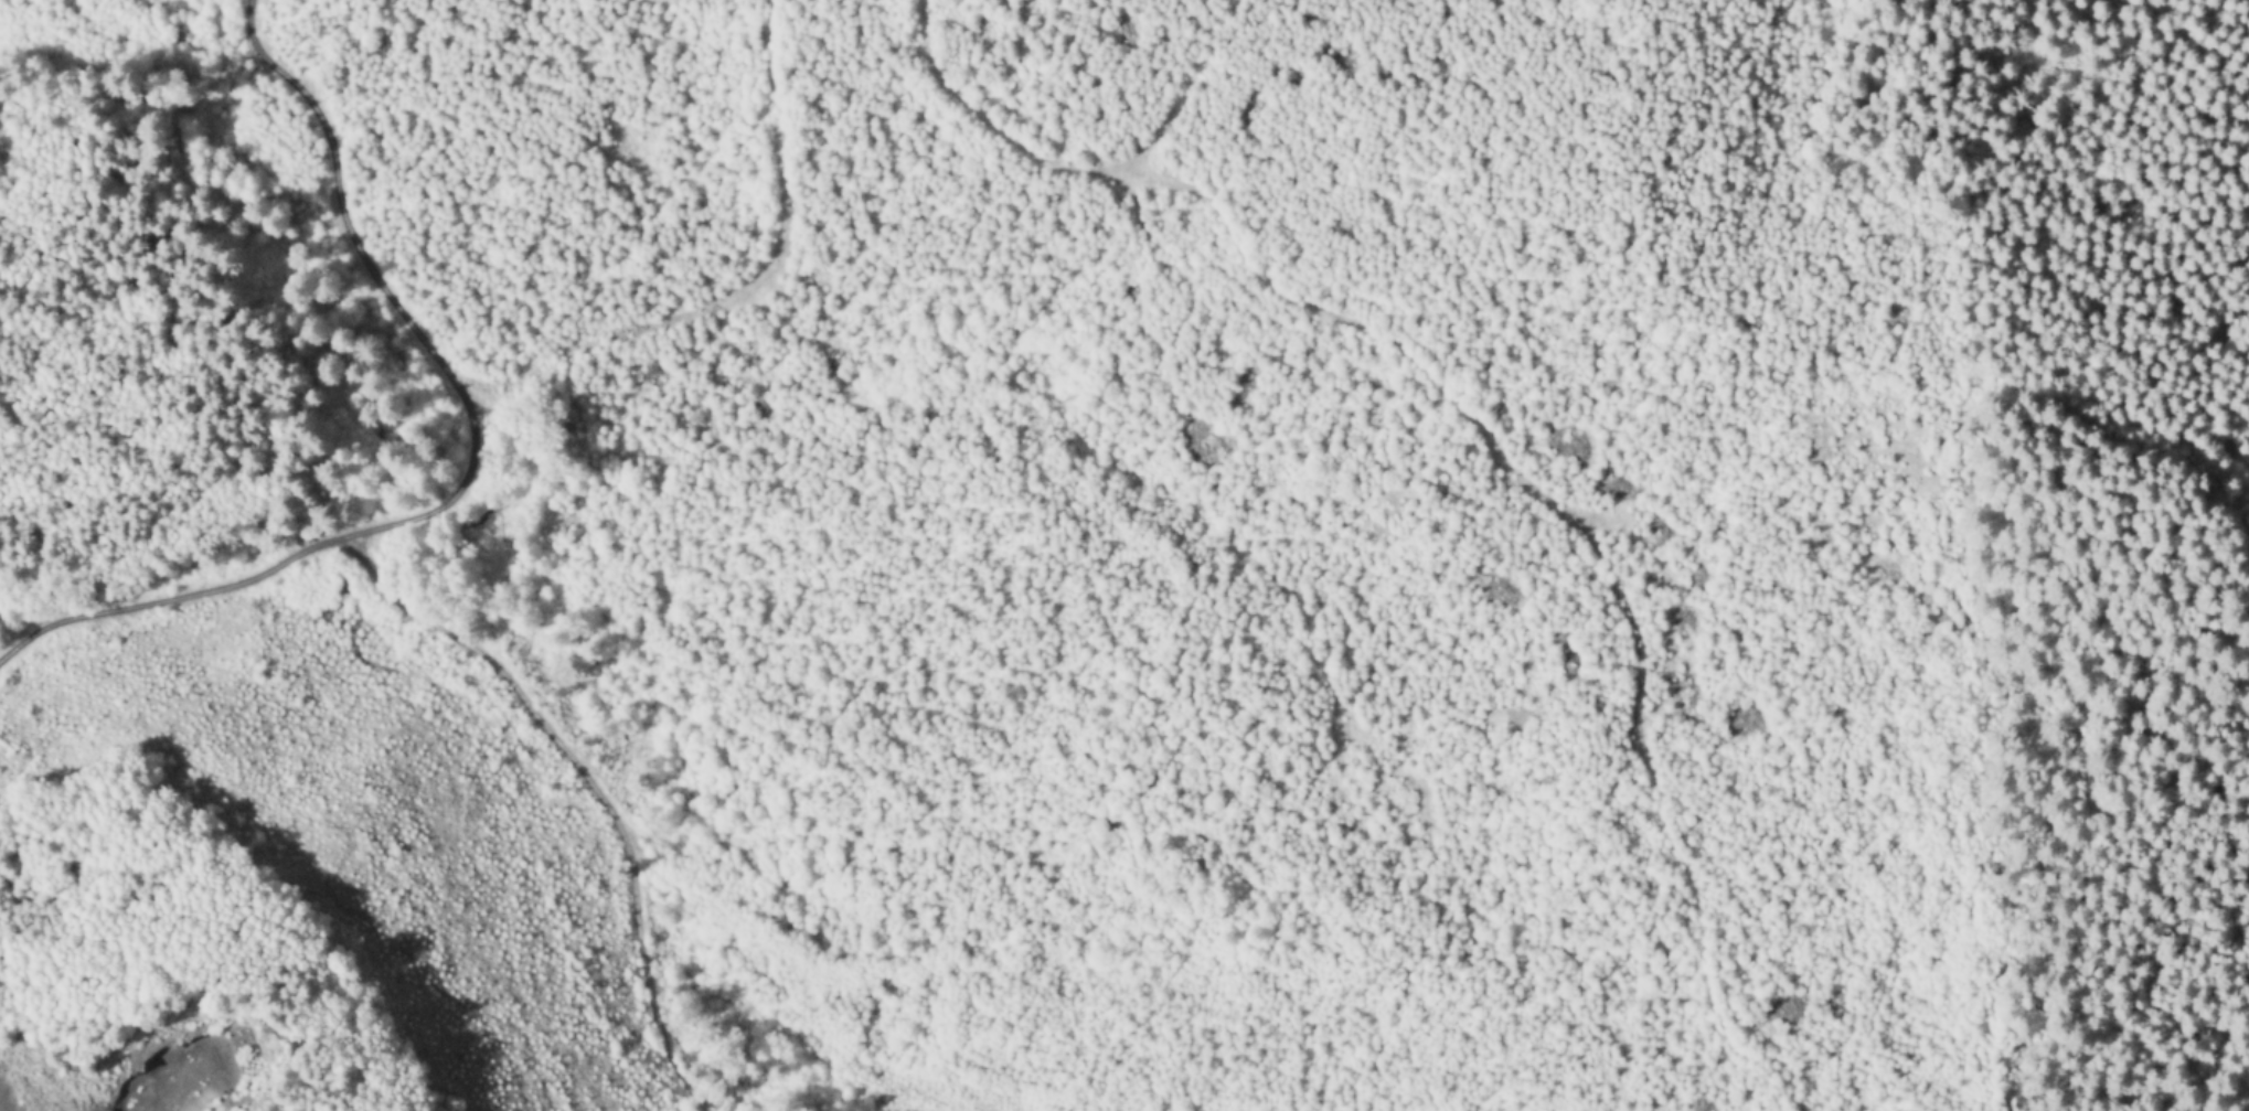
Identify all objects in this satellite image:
road: (430, 455)

